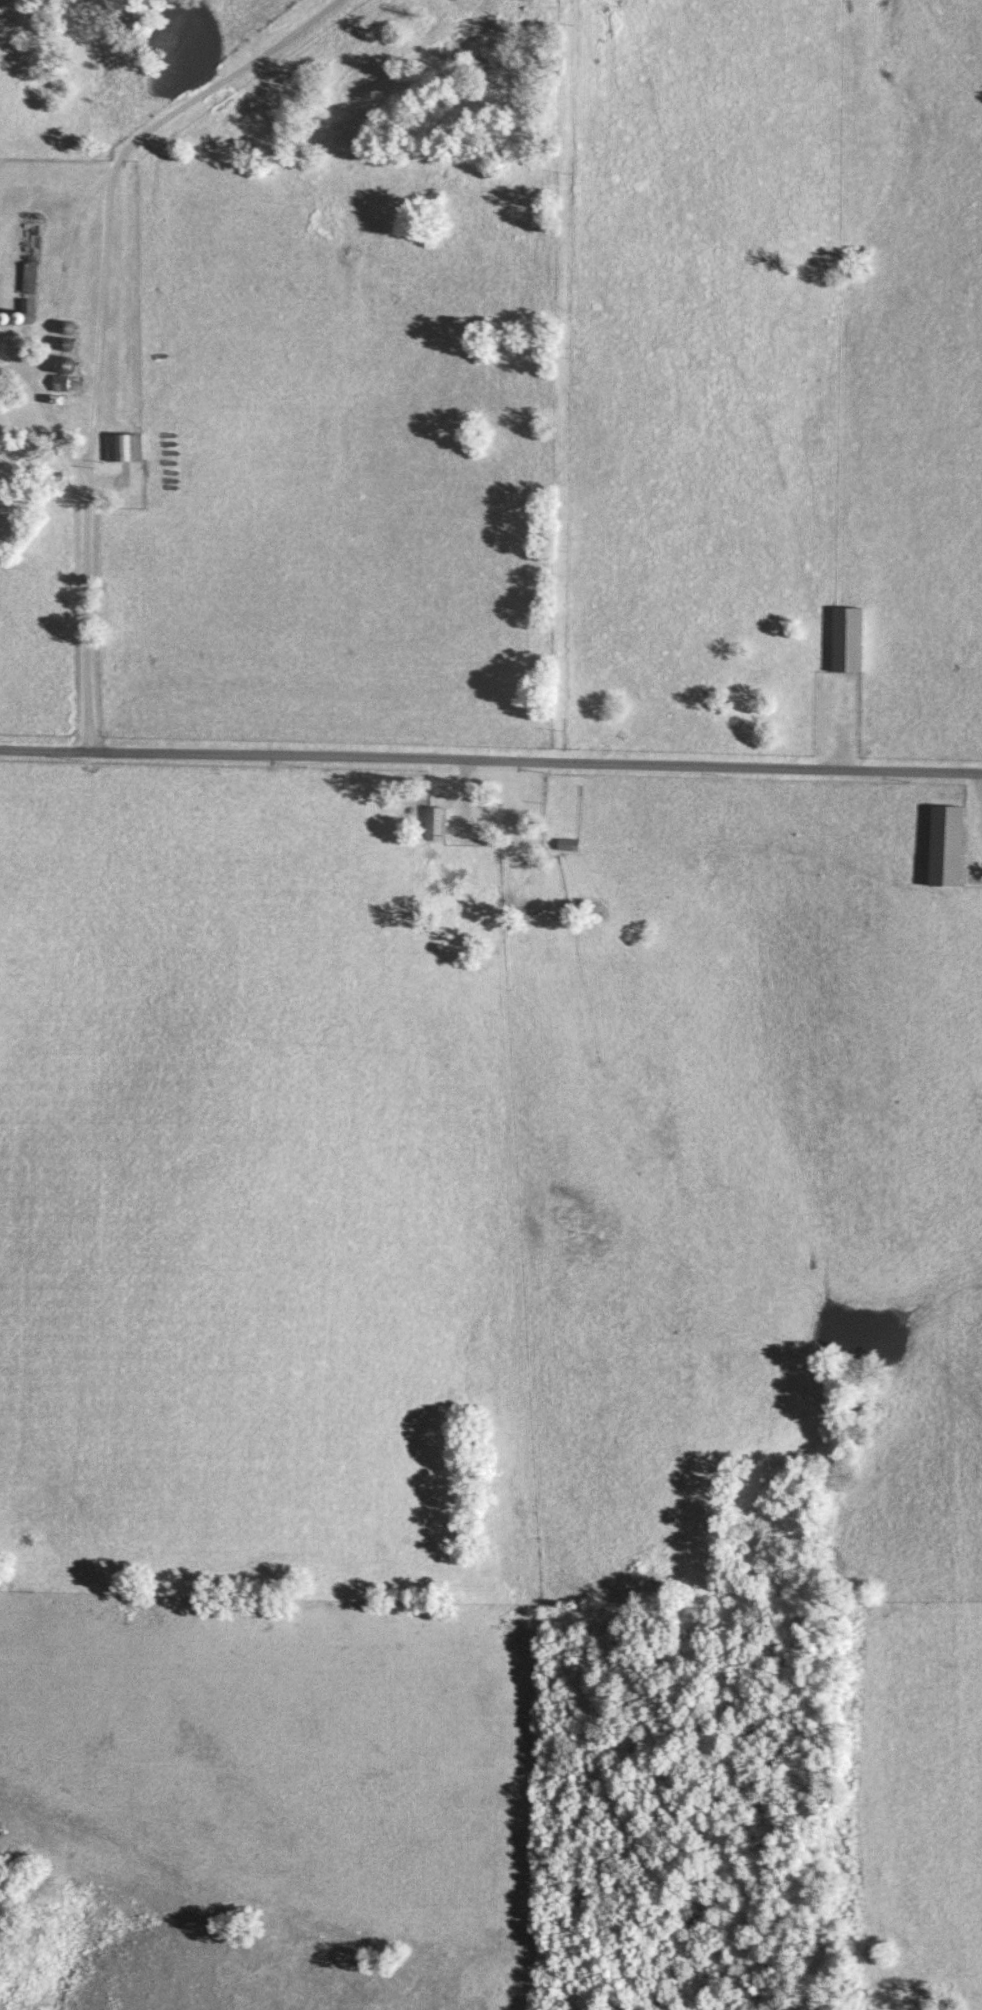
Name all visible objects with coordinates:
building: (28, 258)
building: (27, 304)
building: (67, 382)
building: (123, 448)
road: (82, 584)
building: (848, 638)
road: (490, 763)
building: (435, 822)
building: (568, 843)
building: (947, 844)

